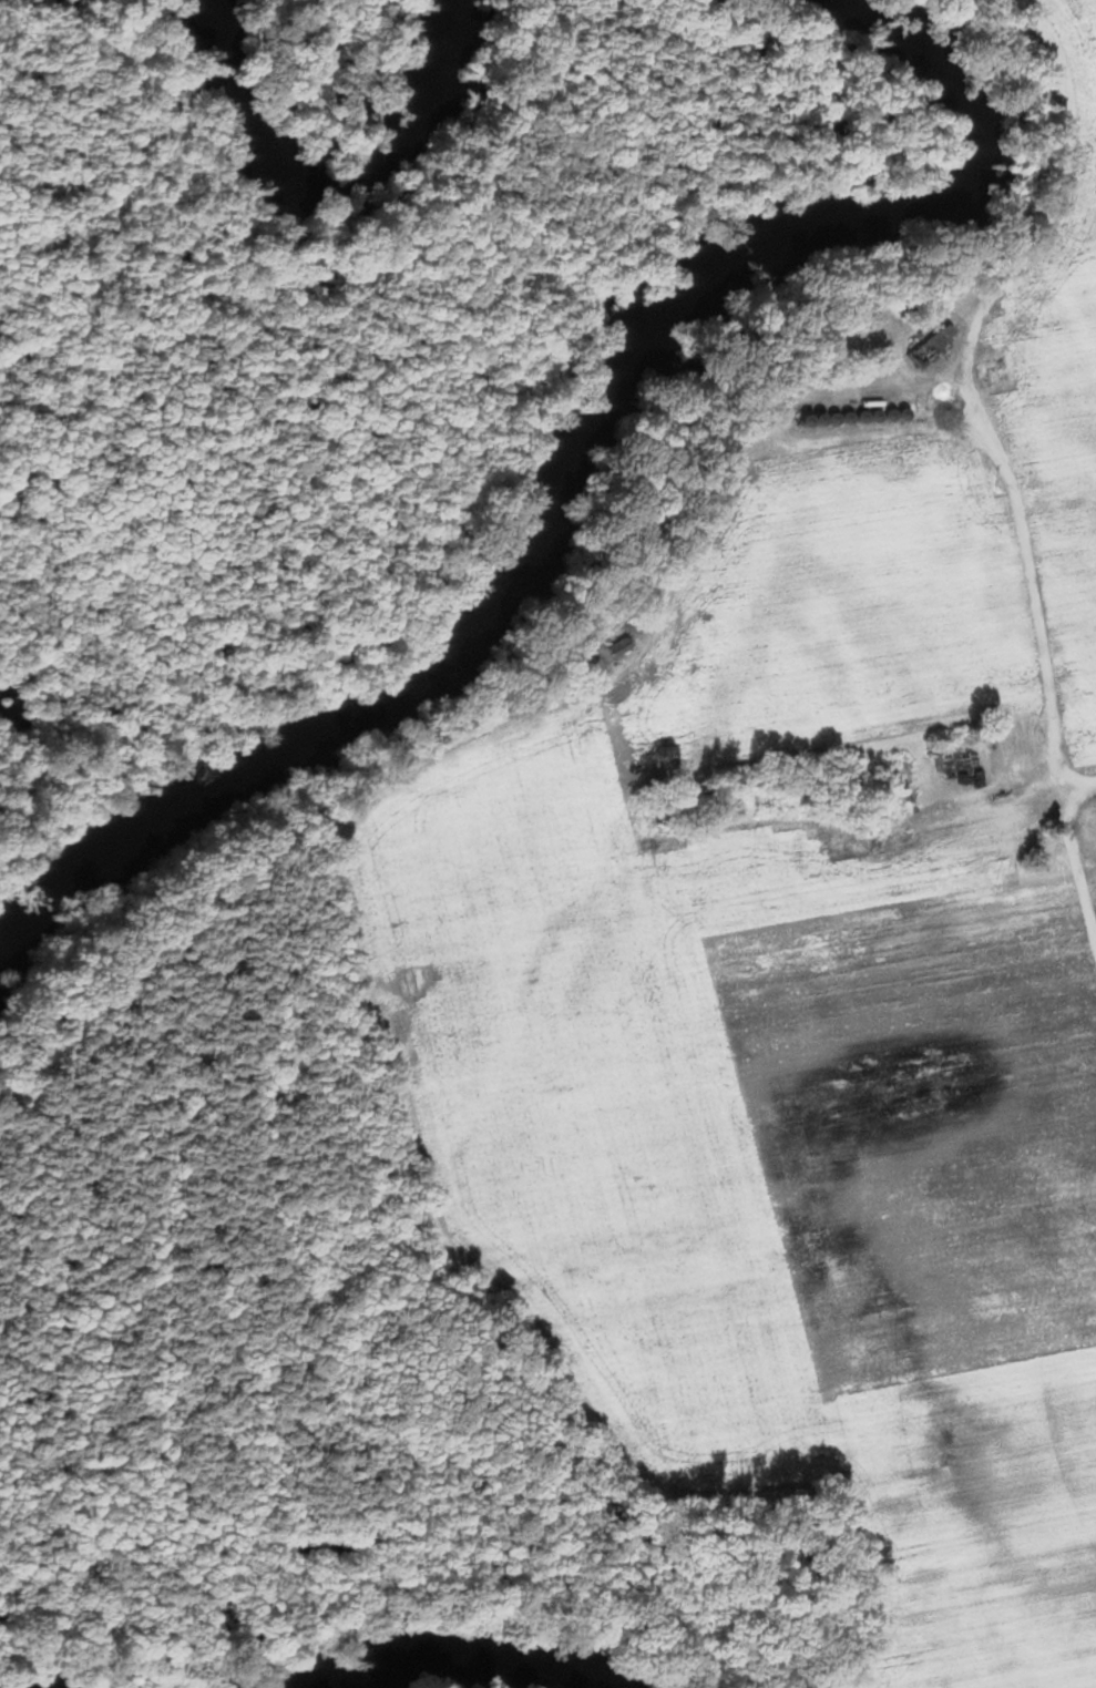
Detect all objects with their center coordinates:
road: (1082, 49)
river: (295, 134)
building: (930, 346)
river: (542, 482)
road: (1017, 530)
road: (1078, 784)
river: (459, 1648)
river: (1, 1687)

